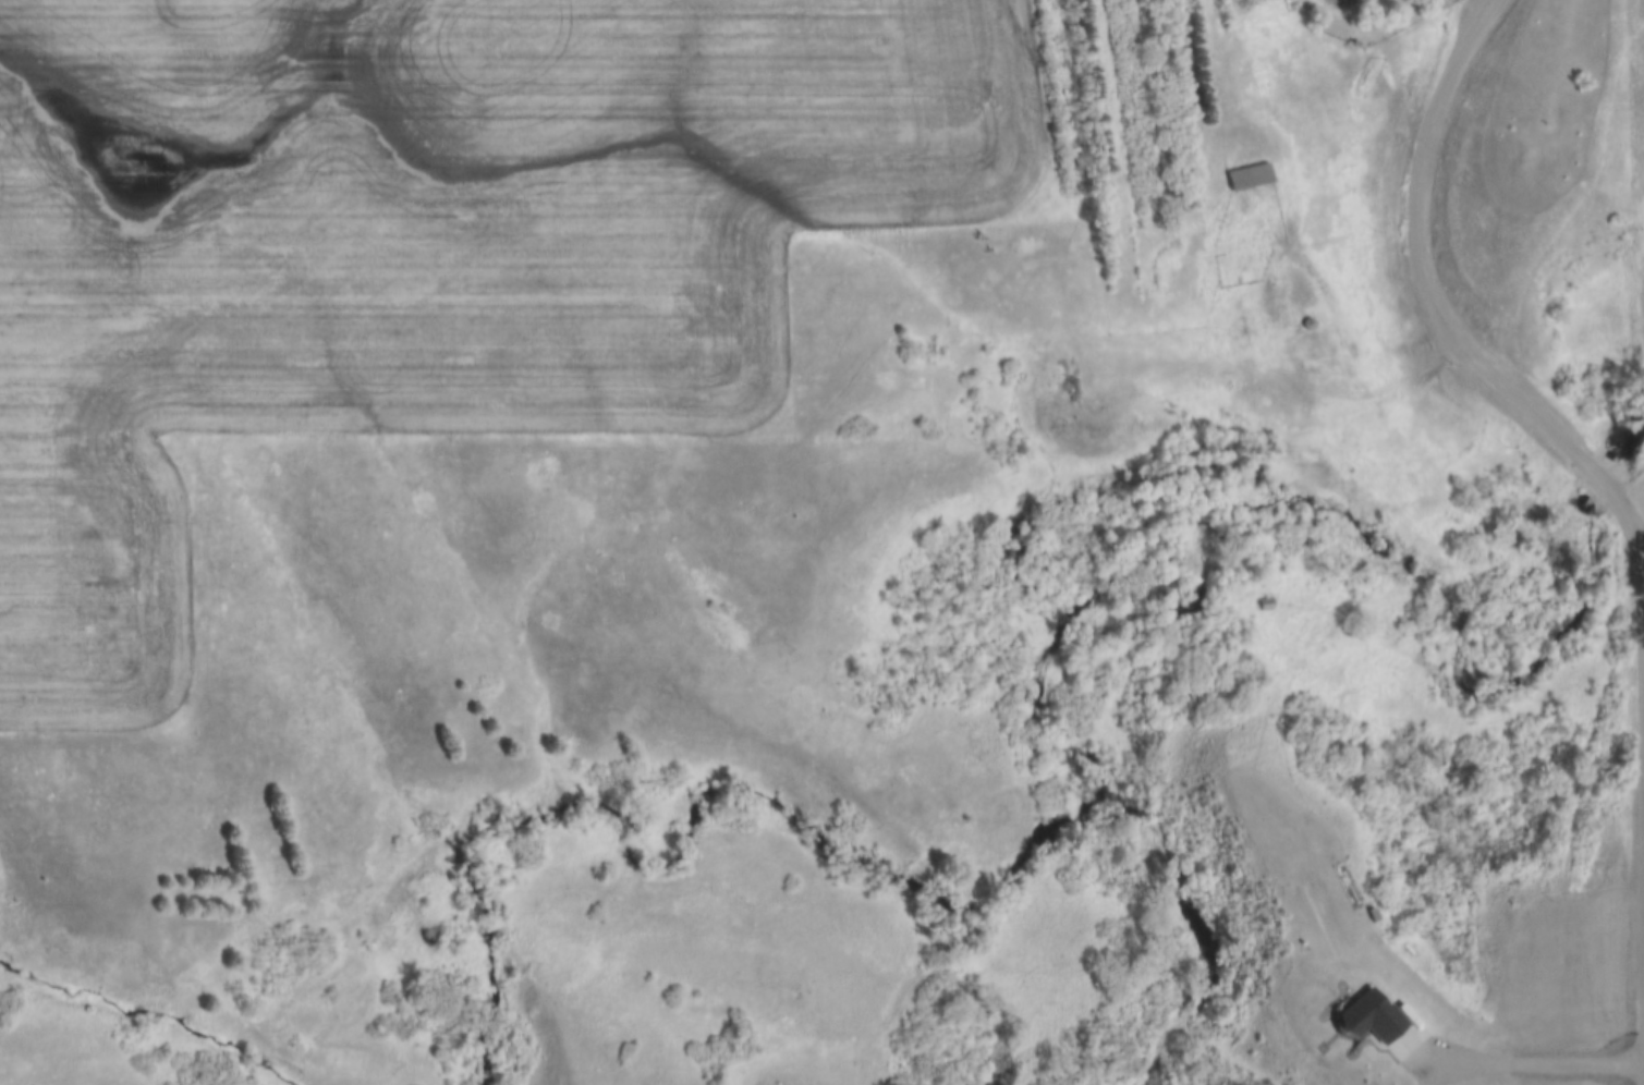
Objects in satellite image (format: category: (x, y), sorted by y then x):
building: (1249, 178)
road: (1438, 302)
road: (1639, 519)
building: (1265, 606)

